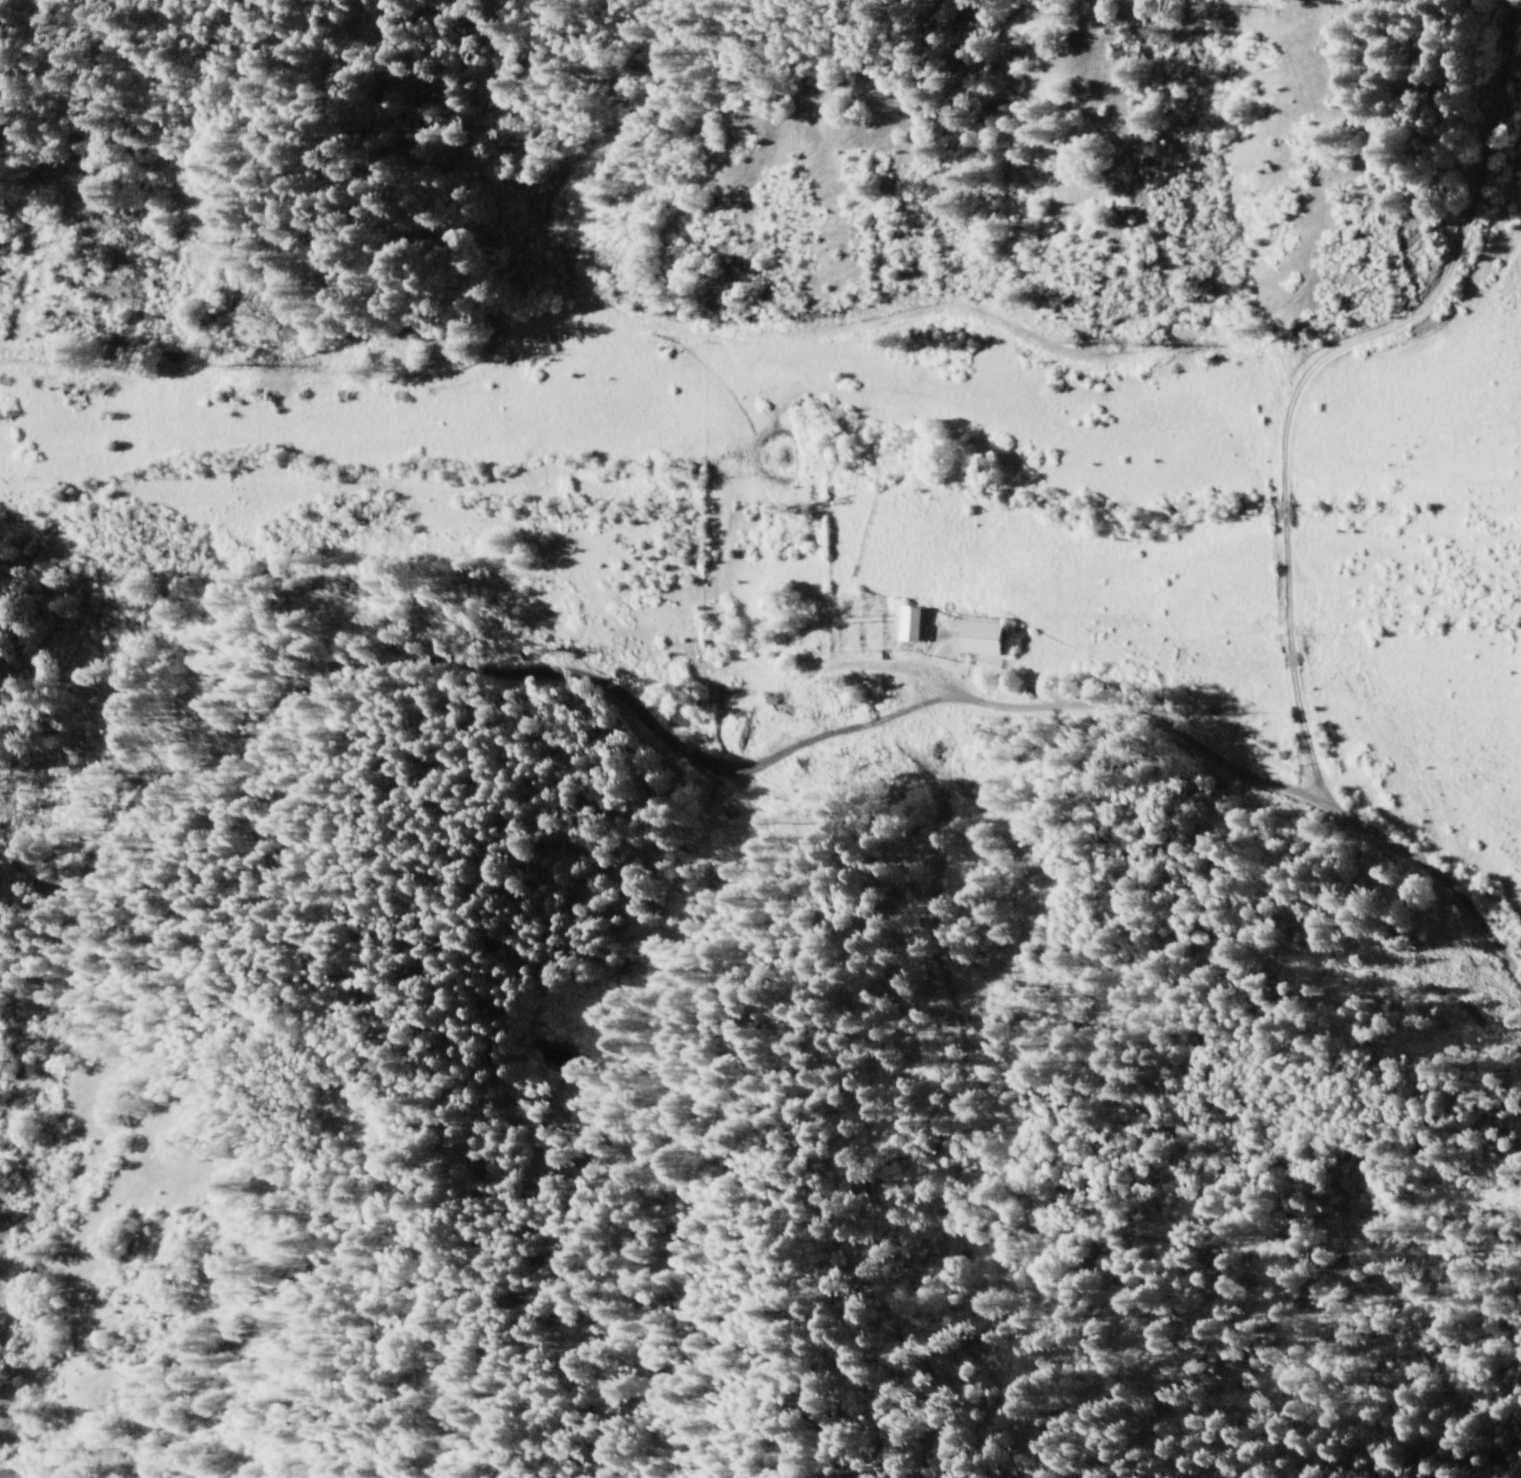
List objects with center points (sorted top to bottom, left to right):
road: (1269, 510)
building: (906, 623)
building: (976, 634)
road: (753, 748)

